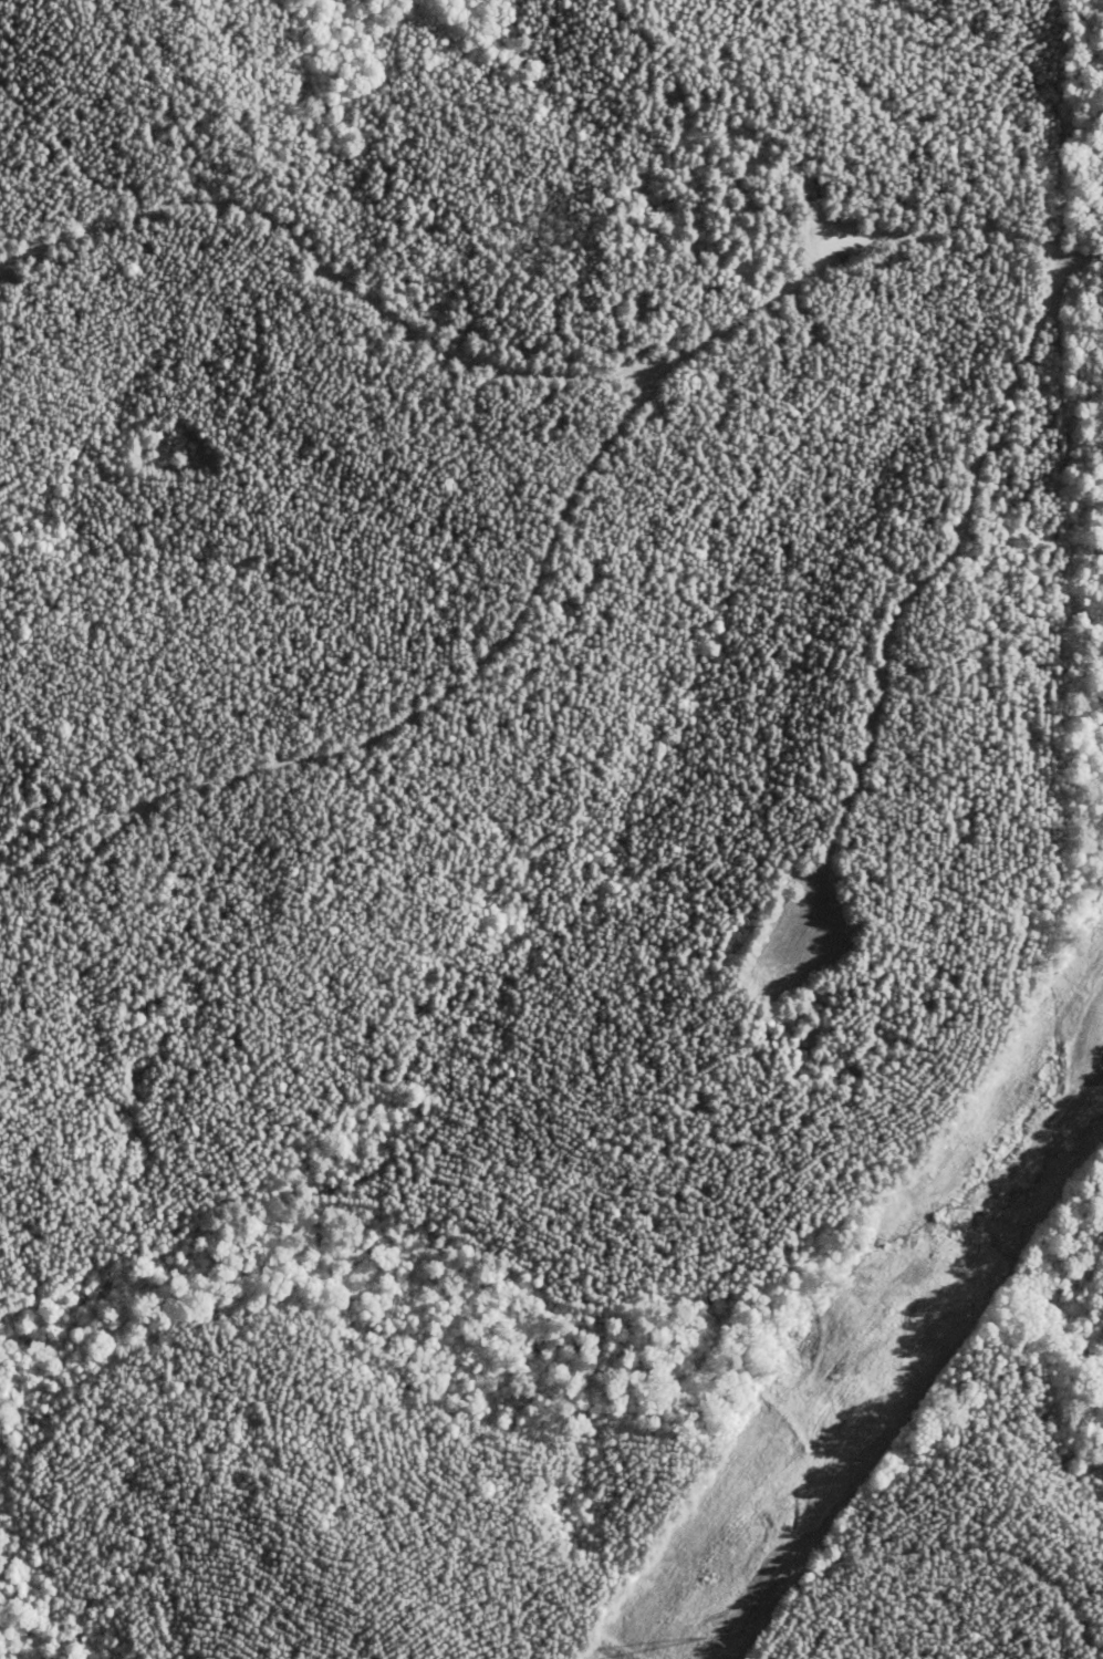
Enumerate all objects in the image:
power tower: (706, 1637)

